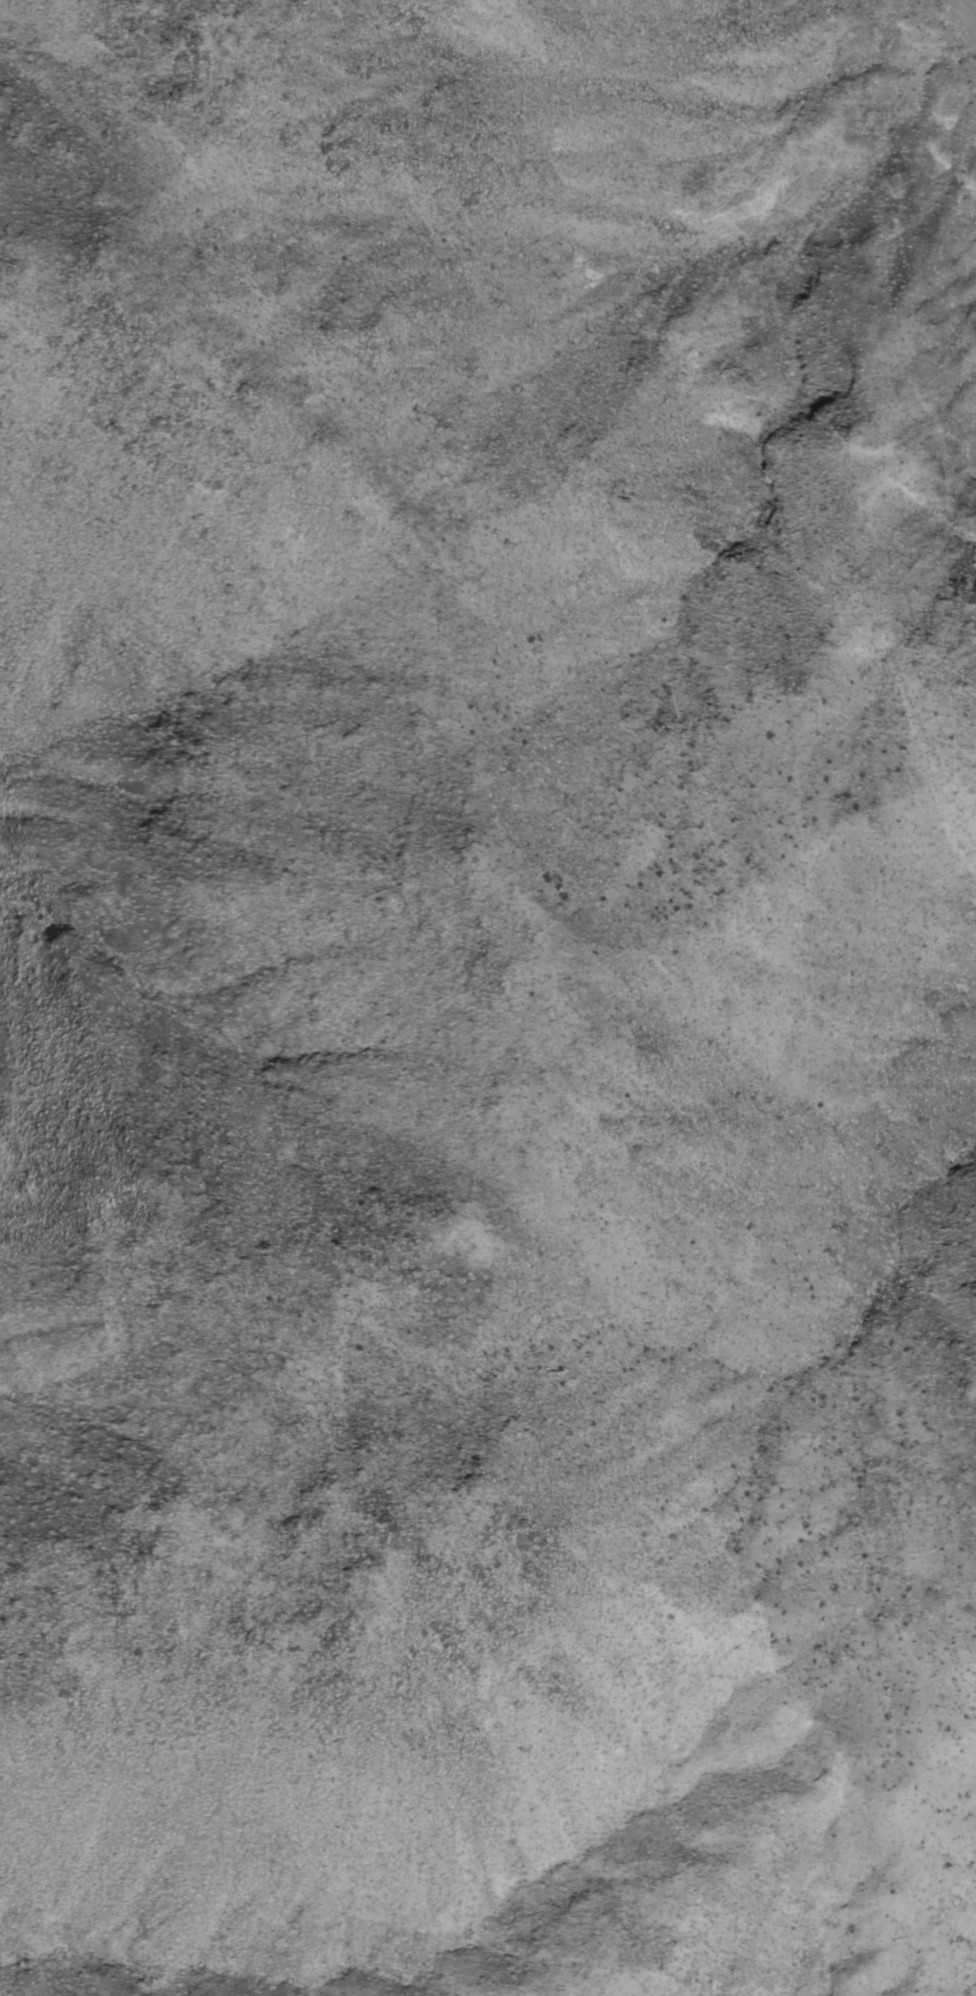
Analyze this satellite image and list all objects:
road: (969, 8)

